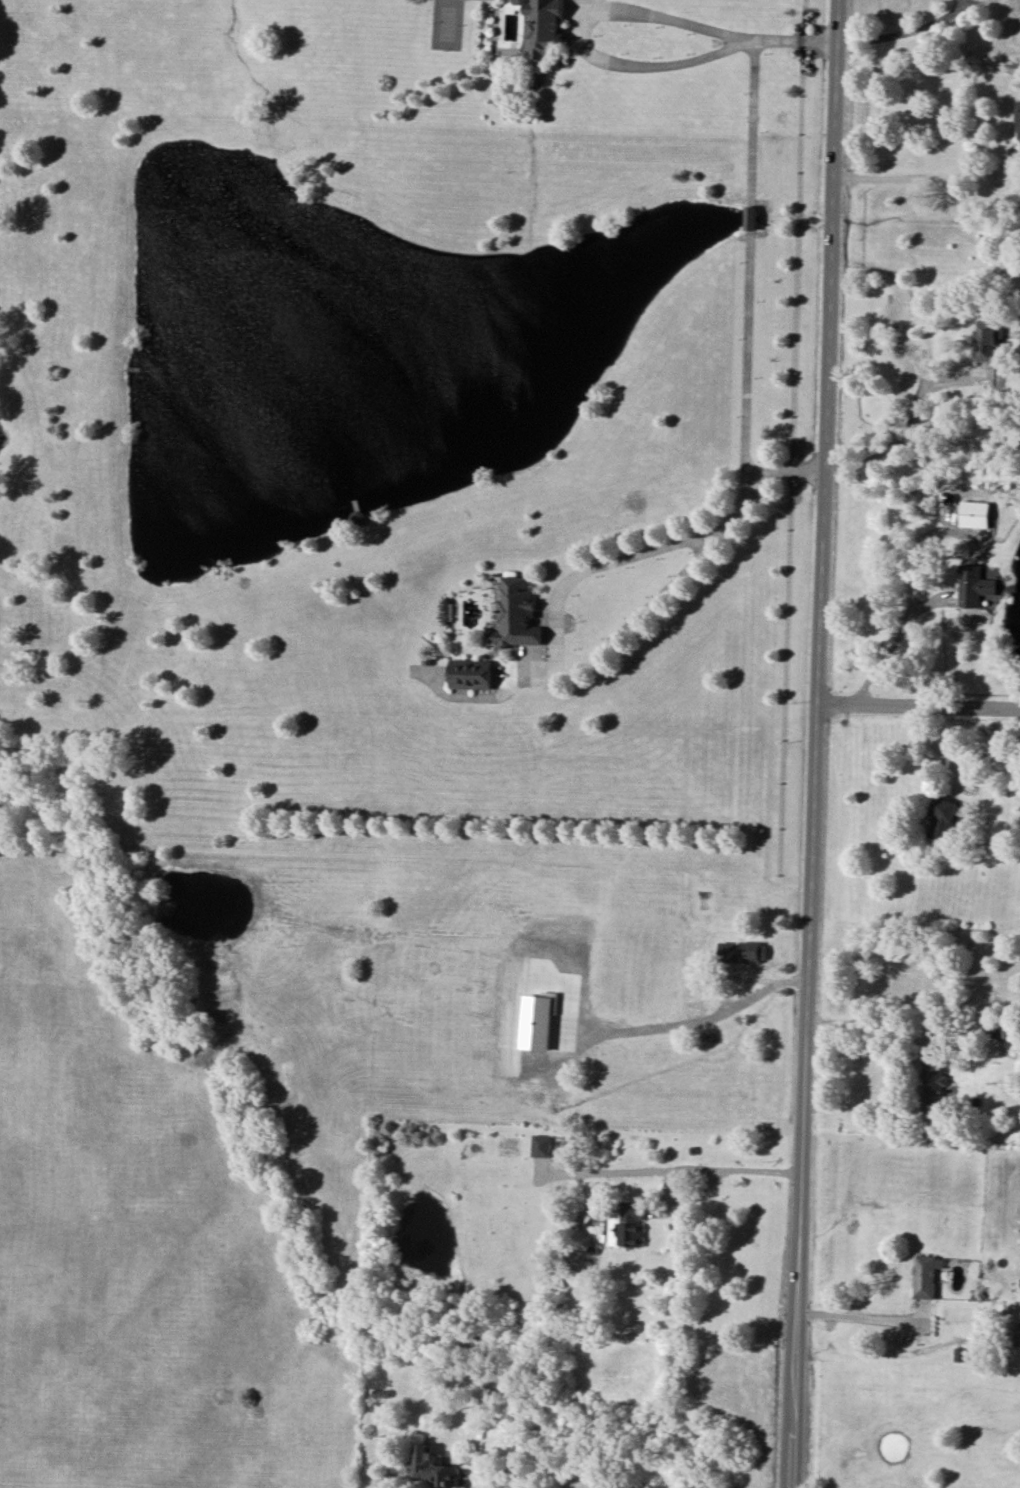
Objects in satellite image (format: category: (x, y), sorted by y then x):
building: (543, 28)
road: (901, 31)
road: (586, 36)
building: (1019, 113)
road: (928, 178)
road: (752, 251)
building: (985, 341)
road: (905, 427)
building: (975, 514)
building: (975, 585)
building: (518, 613)
road: (885, 652)
road: (585, 661)
building: (470, 674)
road: (919, 707)
road: (817, 744)
road: (939, 749)
building: (942, 817)
building: (744, 952)
building: (695, 1001)
building: (538, 1020)
road: (706, 1021)
road: (874, 1025)
building: (933, 1085)
building: (541, 1145)
road: (697, 1193)
building: (926, 1276)
road: (862, 1317)
building: (412, 1353)
building: (433, 1468)

